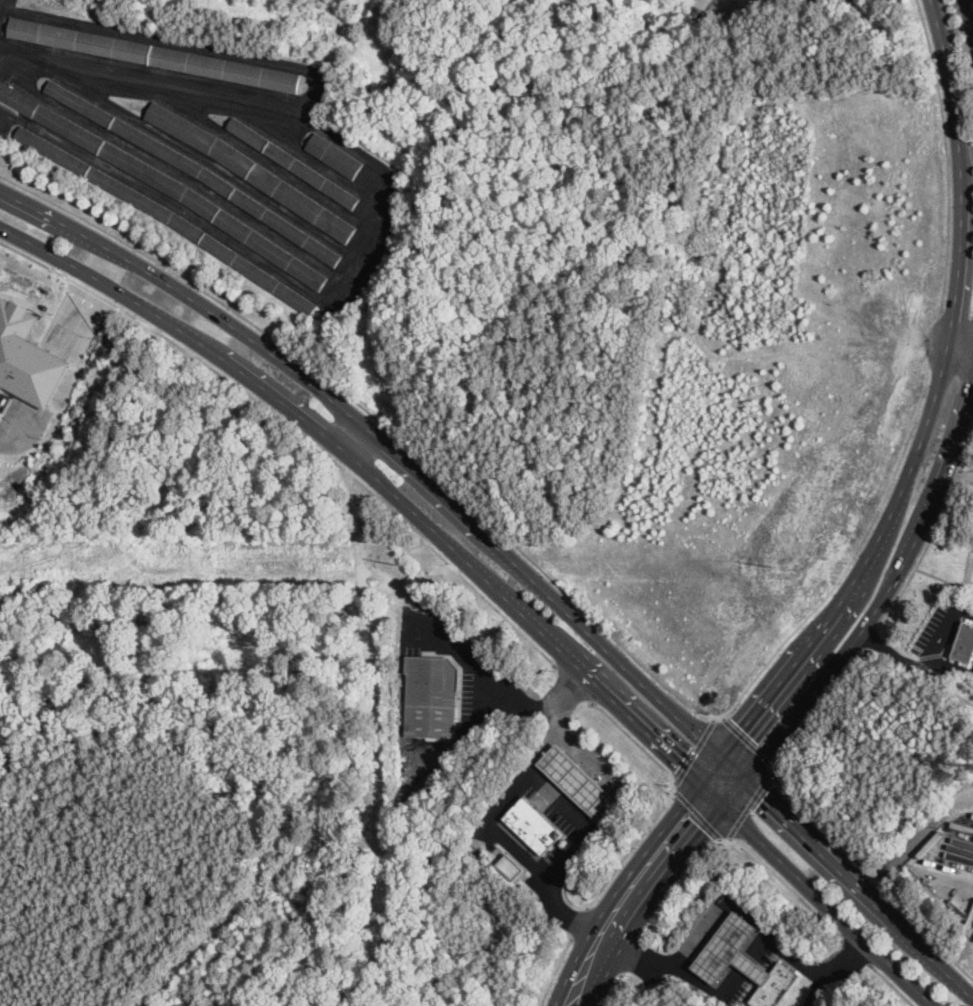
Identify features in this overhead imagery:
road: (968, 14)
building: (155, 55)
road: (313, 84)
road: (1, 124)
building: (334, 156)
road: (946, 159)
building: (292, 162)
building: (249, 170)
building: (195, 171)
building: (162, 184)
building: (166, 217)
road: (48, 251)
road: (32, 257)
road: (103, 263)
road: (92, 290)
road: (54, 294)
road: (25, 303)
road: (76, 315)
road: (930, 343)
road: (957, 348)
building: (26, 356)
road: (44, 377)
road: (380, 416)
road: (15, 421)
road: (355, 437)
road: (965, 451)
road: (909, 460)
road: (351, 470)
road: (956, 474)
road: (956, 480)
road: (851, 556)
road: (919, 558)
power tower: (397, 563)
road: (510, 563)
power tower: (772, 565)
road: (954, 583)
road: (529, 623)
road: (948, 626)
road: (856, 634)
road: (870, 636)
road: (894, 644)
building: (965, 644)
road: (894, 652)
road: (953, 667)
road: (485, 678)
road: (572, 682)
building: (431, 697)
road: (816, 705)
traffic signals: (740, 727)
road: (633, 738)
road: (747, 739)
road: (694, 750)
road: (584, 756)
traffic signals: (683, 761)
road: (524, 776)
building: (575, 780)
traffic signals: (764, 792)
road: (750, 802)
road: (696, 813)
road: (586, 823)
building: (533, 826)
building: (335, 827)
traffic signals: (701, 827)
road: (632, 845)
building: (331, 859)
building: (509, 867)
road: (871, 873)
road: (681, 881)
road: (542, 882)
road: (786, 883)
road: (564, 885)
building: (327, 889)
road: (734, 903)
road: (579, 922)
road: (610, 927)
road: (852, 948)
building: (730, 952)
road: (630, 953)
road: (554, 971)
road: (889, 983)
building: (774, 986)
road: (613, 989)

